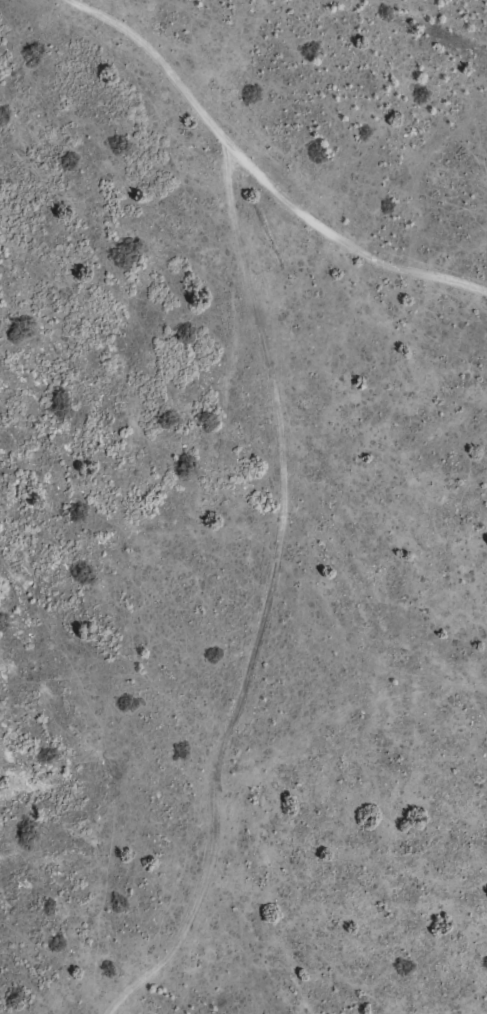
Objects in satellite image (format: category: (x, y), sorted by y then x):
road: (379, 258)
road: (286, 452)

